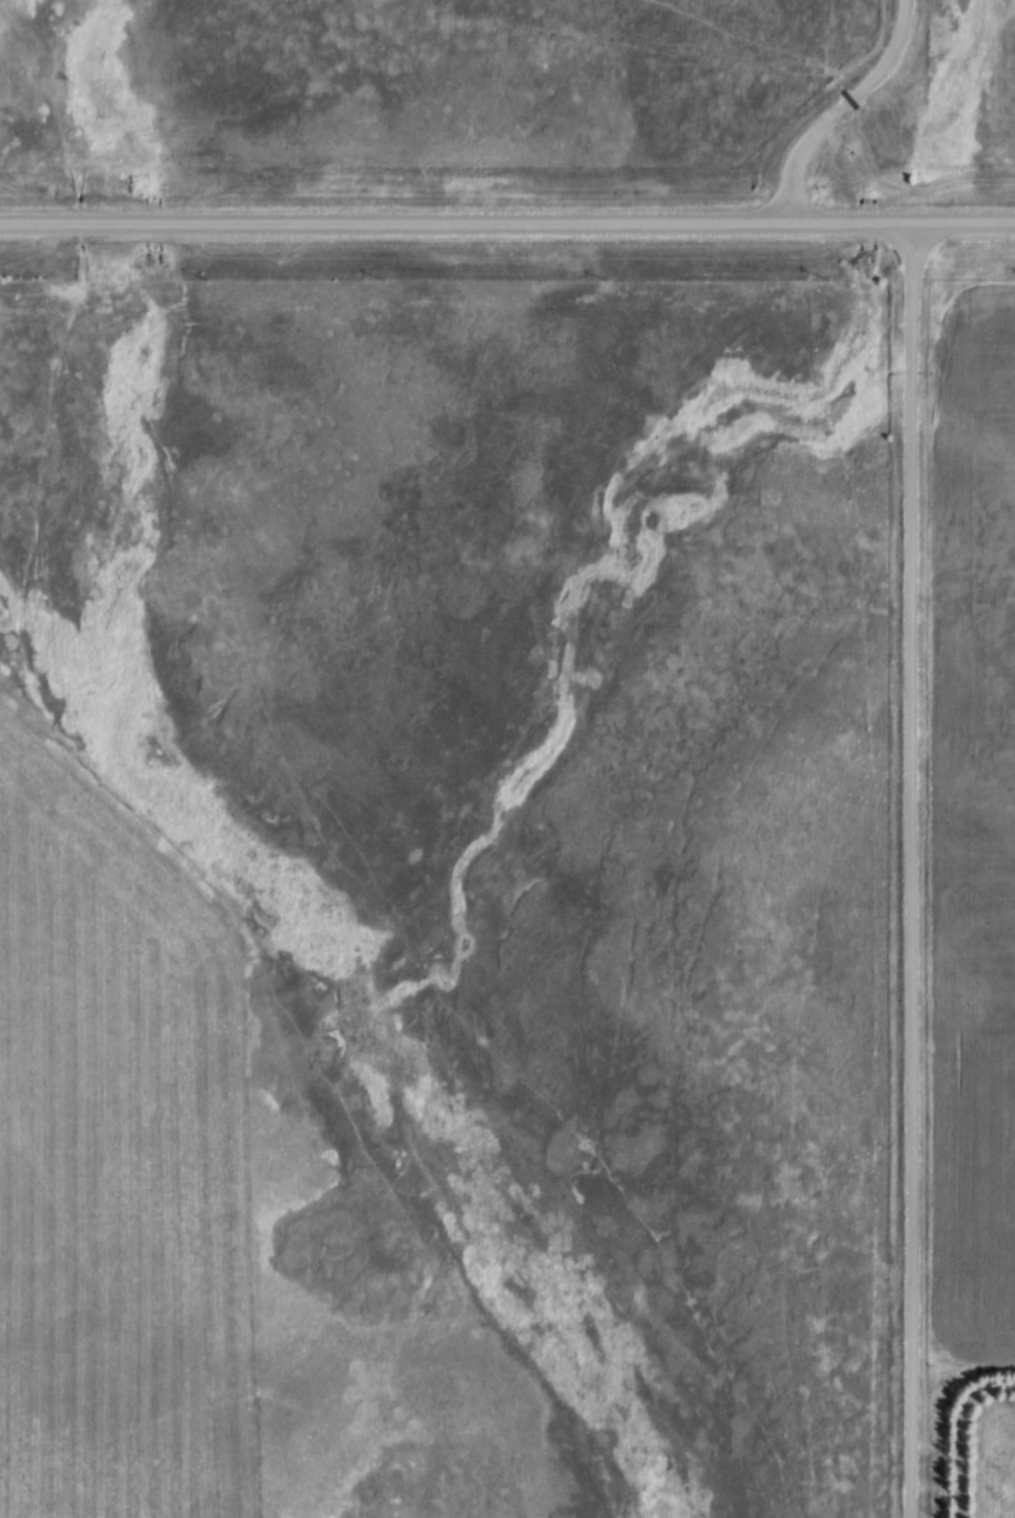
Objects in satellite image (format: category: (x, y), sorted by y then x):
road: (842, 110)
road: (507, 227)
road: (910, 872)

